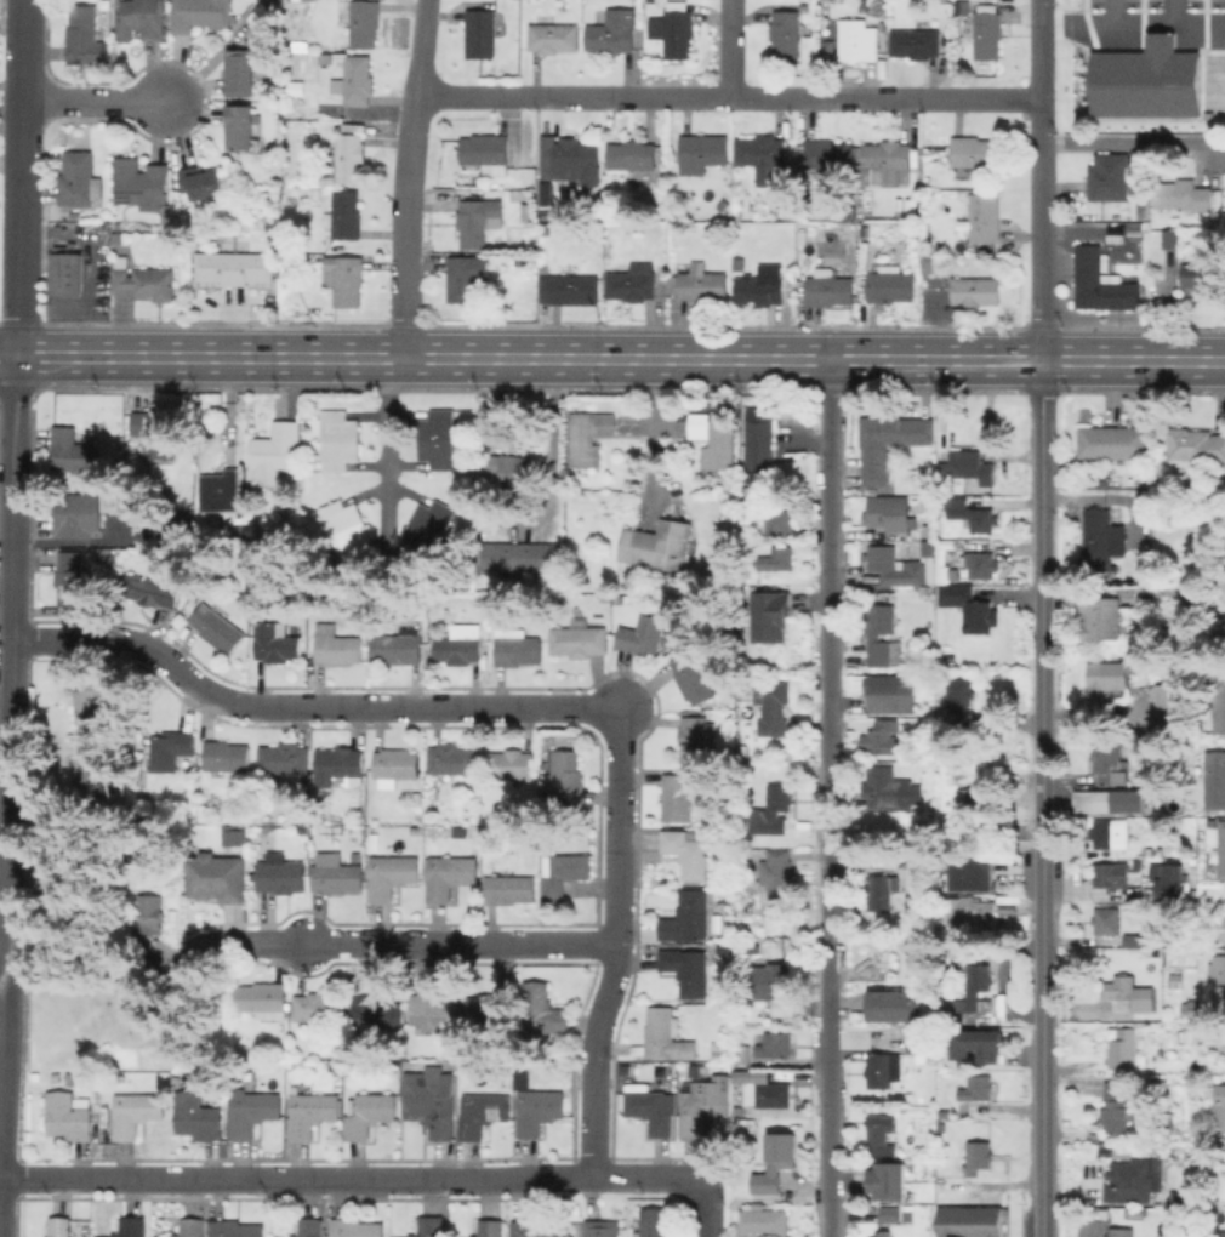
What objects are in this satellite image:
parking lot: (1155, 5)
road: (1110, 11)
road: (1169, 11)
building: (201, 13)
building: (144, 17)
building: (360, 19)
road: (1073, 23)
road: (1167, 23)
building: (614, 32)
building: (678, 33)
building: (786, 33)
building: (85, 34)
building: (988, 34)
building: (480, 35)
building: (554, 38)
building: (859, 39)
building: (916, 42)
road: (17, 49)
road: (731, 49)
building: (241, 72)
building: (1144, 78)
building: (355, 80)
road: (729, 97)
road: (92, 99)
building: (241, 126)
road: (1132, 144)
building: (975, 150)
building: (486, 152)
building: (702, 152)
building: (632, 154)
building: (828, 155)
building: (351, 156)
building: (763, 156)
building: (574, 159)
building: (888, 159)
building: (1110, 176)
building: (80, 178)
road: (409, 178)
road: (1038, 179)
building: (529, 181)
building: (203, 182)
building: (142, 183)
building: (1184, 194)
building: (525, 195)
building: (547, 198)
building: (449, 199)
building: (346, 215)
building: (985, 217)
building: (478, 220)
building: (274, 224)
road: (17, 227)
building: (866, 235)
building: (116, 239)
building: (1172, 239)
building: (741, 264)
building: (234, 266)
building: (67, 270)
building: (1086, 274)
building: (466, 275)
building: (1201, 277)
building: (346, 278)
building: (146, 280)
building: (633, 281)
building: (700, 283)
building: (891, 284)
building: (571, 286)
building: (762, 286)
building: (830, 289)
building: (975, 290)
building: (1116, 292)
road: (611, 359)
building: (336, 424)
building: (434, 424)
building: (156, 432)
building: (589, 435)
building: (716, 438)
road: (654, 439)
road: (382, 440)
building: (1092, 441)
building: (1127, 441)
road: (551, 443)
building: (1196, 443)
building: (759, 444)
building: (890, 444)
building: (73, 450)
building: (274, 452)
building: (336, 454)
building: (434, 454)
building: (965, 467)
building: (511, 473)
building: (221, 490)
building: (112, 503)
building: (888, 512)
building: (78, 513)
building: (972, 514)
building: (337, 515)
building: (432, 515)
building: (780, 521)
building: (1098, 538)
building: (349, 542)
building: (420, 542)
building: (659, 545)
building: (520, 557)
building: (779, 558)
building: (881, 565)
building: (982, 565)
building: (72, 581)
building: (152, 591)
building: (1127, 592)
building: (1224, 593)
building: (1175, 595)
building: (634, 597)
building: (970, 606)
building: (770, 615)
building: (1106, 621)
building: (217, 627)
building: (881, 632)
building: (643, 634)
building: (580, 640)
building: (277, 642)
building: (337, 645)
building: (461, 645)
building: (398, 646)
building: (517, 646)
building: (694, 677)
building: (1107, 678)
building: (890, 691)
building: (961, 692)
building: (1218, 697)
building: (1172, 700)
building: (101, 702)
building: (773, 706)
road: (306, 707)
building: (1168, 728)
road: (5, 734)
building: (885, 736)
building: (695, 739)
building: (171, 748)
building: (227, 758)
building: (285, 759)
building: (454, 760)
building: (397, 763)
building: (1109, 763)
building: (512, 765)
building: (340, 768)
building: (566, 775)
building: (1215, 779)
building: (99, 783)
building: (887, 788)
building: (678, 798)
road: (830, 798)
road: (1042, 798)
building: (1128, 799)
building: (1092, 802)
building: (776, 809)
building: (973, 809)
building: (922, 825)
building: (1111, 833)
building: (234, 839)
building: (1223, 849)
building: (688, 851)
building: (913, 862)
building: (563, 873)
building: (281, 874)
building: (393, 874)
building: (450, 874)
building: (779, 876)
building: (338, 877)
building: (980, 877)
building: (1109, 877)
building: (221, 880)
building: (1170, 888)
building: (509, 889)
building: (882, 891)
building: (745, 902)
building: (1008, 910)
building: (153, 913)
building: (972, 914)
building: (688, 917)
building: (1106, 919)
building: (1223, 919)
building: (1135, 940)
road: (617, 942)
road: (404, 944)
building: (1217, 968)
building: (689, 969)
road: (1, 982)
building: (776, 985)
building: (1224, 986)
building: (976, 988)
building: (1128, 993)
building: (264, 999)
building: (374, 1007)
building: (898, 1007)
building: (320, 1008)
building: (435, 1008)
building: (1196, 1009)
building: (543, 1010)
building: (488, 1013)
building: (667, 1034)
building: (918, 1041)
building: (776, 1044)
building: (978, 1045)
building: (1124, 1048)
building: (743, 1055)
building: (335, 1062)
building: (884, 1068)
building: (56, 1076)
building: (978, 1088)
building: (768, 1095)
building: (432, 1100)
building: (1218, 1104)
building: (805, 1107)
building: (1118, 1108)
building: (539, 1110)
building: (651, 1111)
building: (703, 1111)
building: (135, 1112)
building: (255, 1112)
building: (312, 1112)
building: (369, 1113)
building: (483, 1113)
building: (69, 1115)
building: (198, 1116)
building: (1168, 1123)
building: (743, 1125)
building: (883, 1134)
building: (975, 1156)
building: (773, 1164)
building: (1208, 1169)
road: (349, 1178)
building: (885, 1180)
building: (1128, 1182)
building: (1176, 1199)
road: (710, 1208)
building: (887, 1213)
building: (763, 1221)
building: (968, 1221)
building: (655, 1222)
building: (61, 1226)
building: (132, 1226)
building: (431, 1226)
building: (192, 1227)
building: (312, 1227)
building: (357, 1227)
building: (490, 1227)
building: (603, 1227)
building: (238, 1229)
building: (536, 1229)
building: (1101, 1230)
building: (883, 1233)
building: (1219, 1233)
building: (876, 1235)

